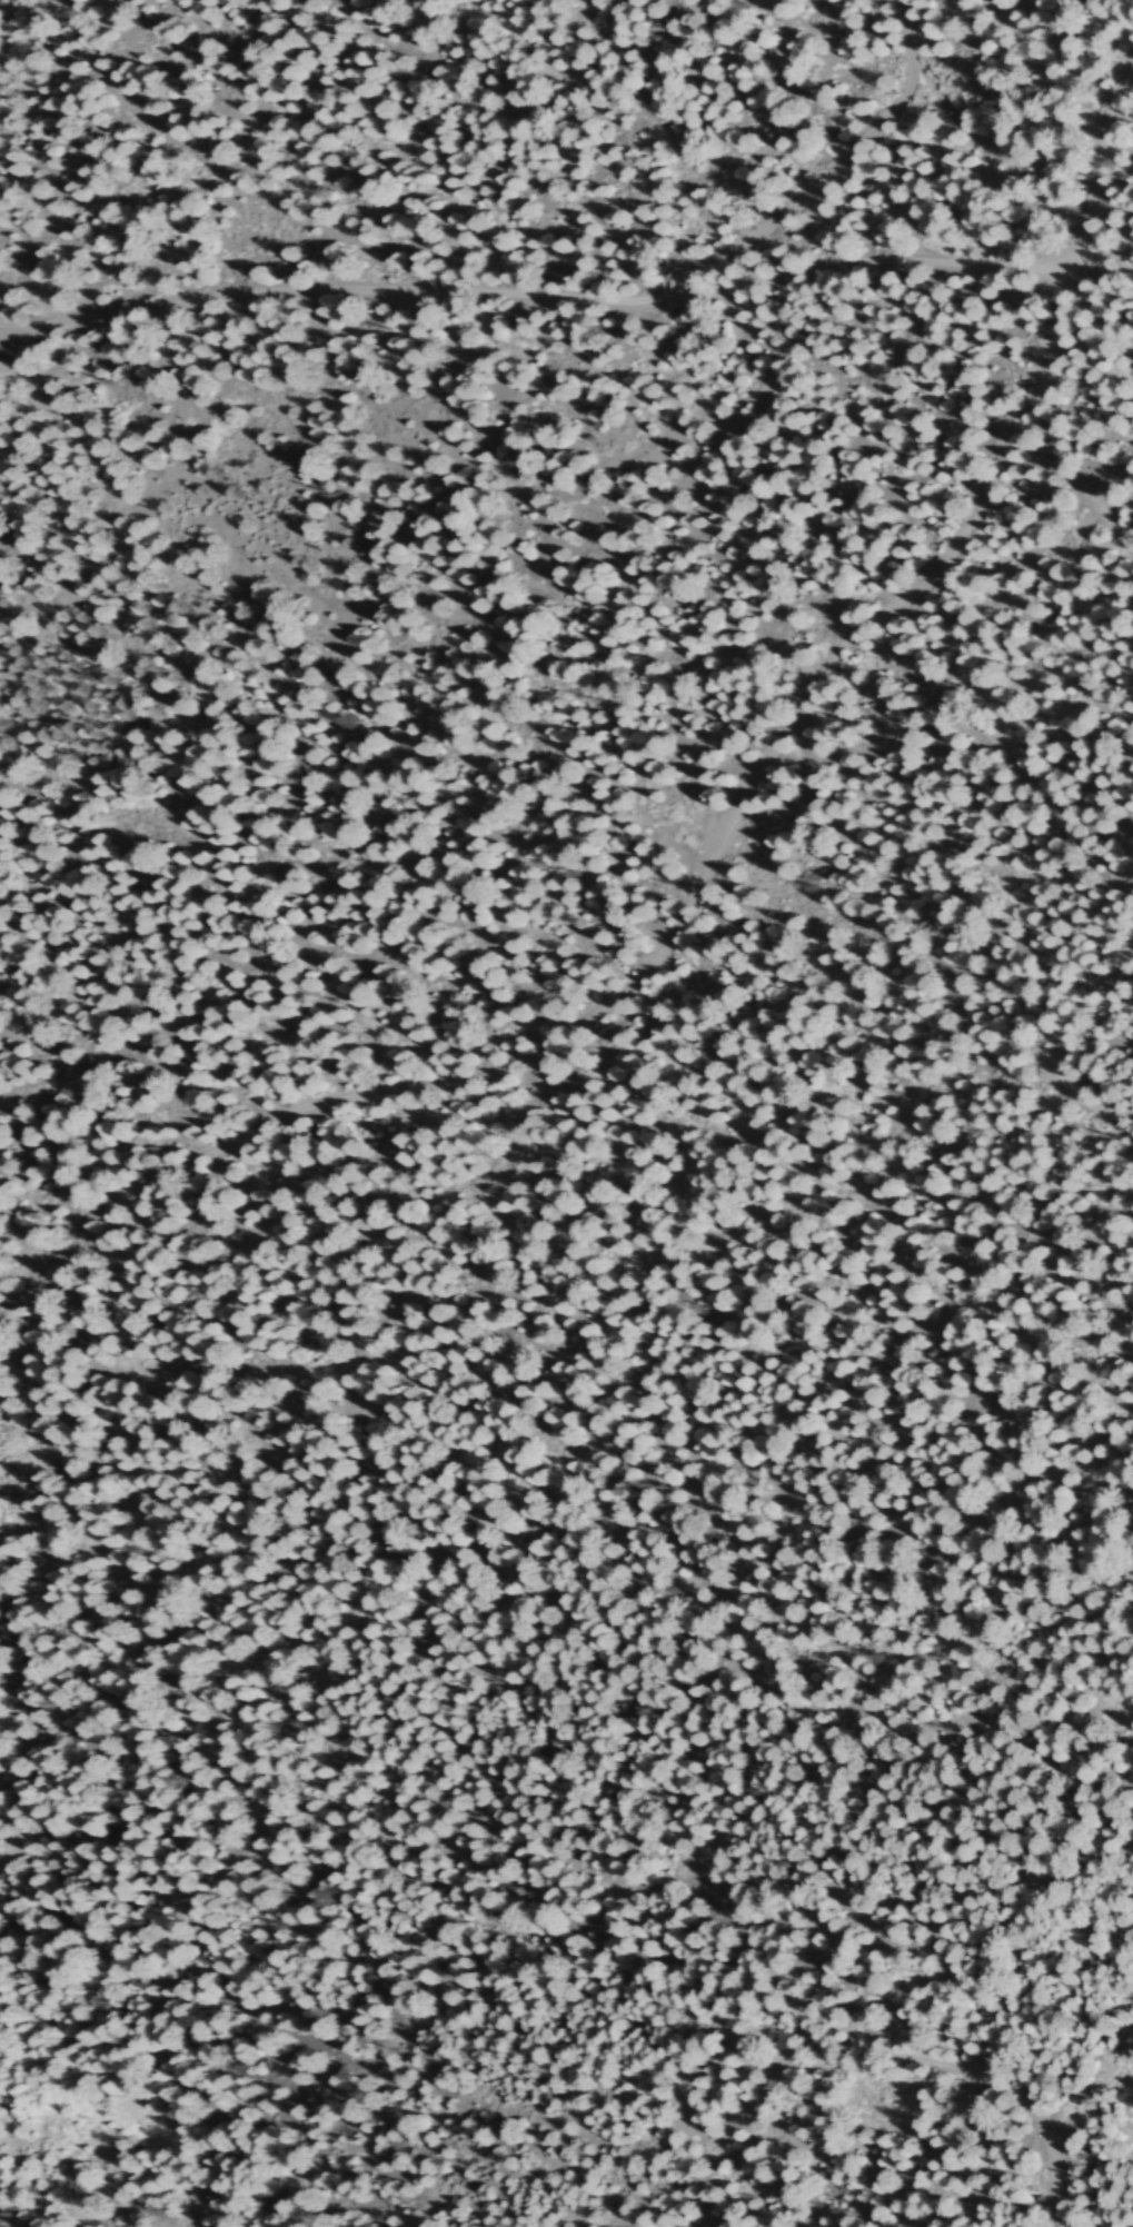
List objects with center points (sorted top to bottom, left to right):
road: (940, 227)
road: (764, 768)

